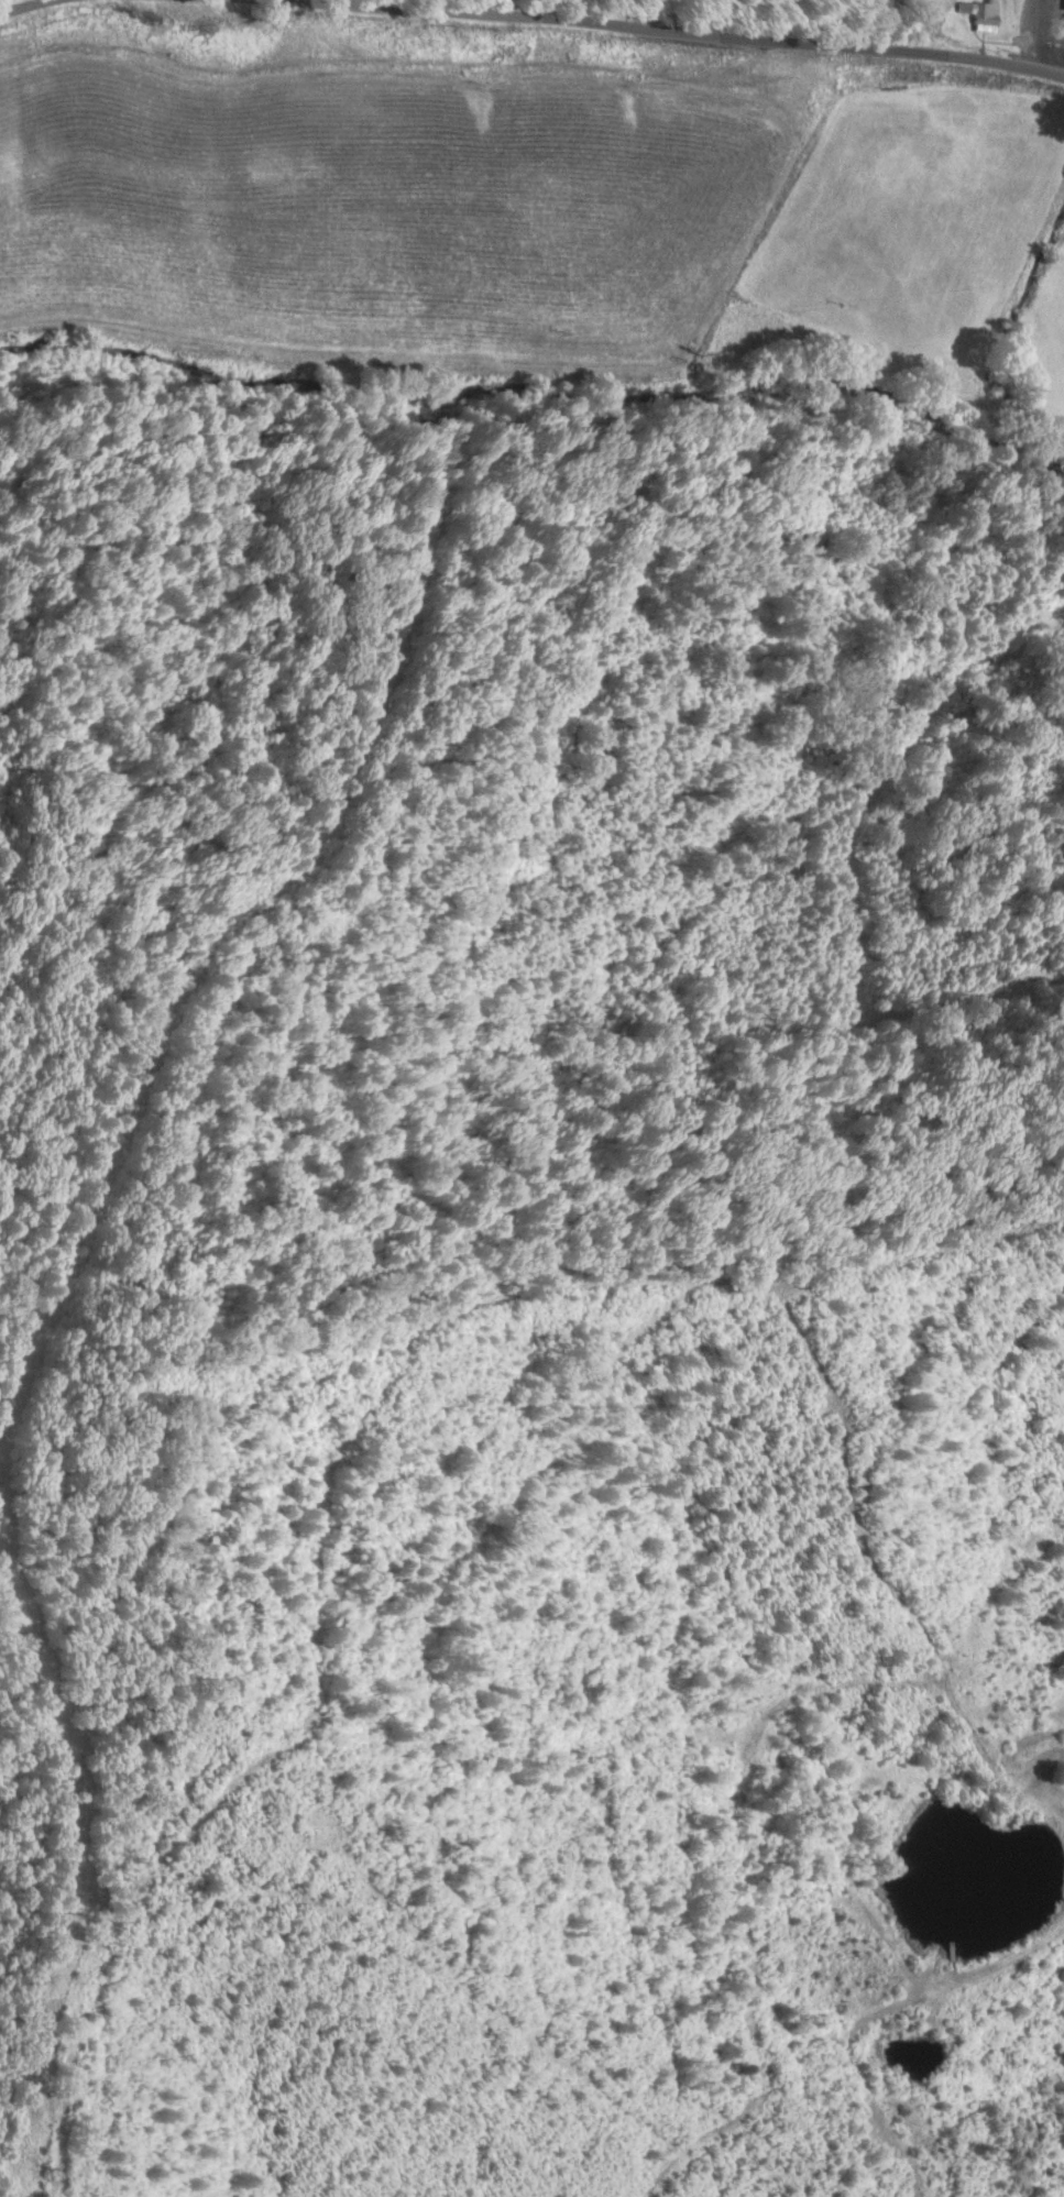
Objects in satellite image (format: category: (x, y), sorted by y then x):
road: (28, 7)
building: (981, 14)
road: (679, 34)

